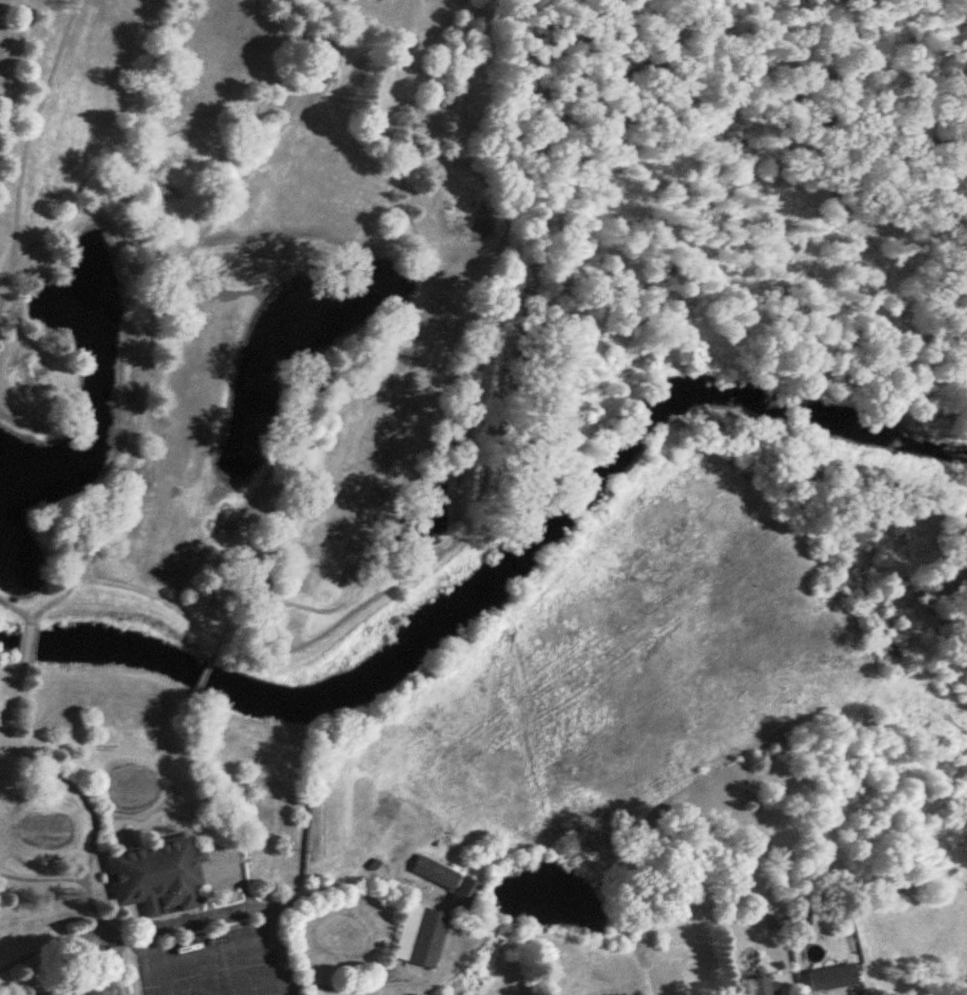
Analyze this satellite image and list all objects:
park: (472, 478)
river: (495, 568)
building: (156, 876)
building: (450, 884)
building: (420, 936)
road: (137, 962)
building: (690, 974)
building: (832, 978)
building: (763, 986)
building: (79, 992)

